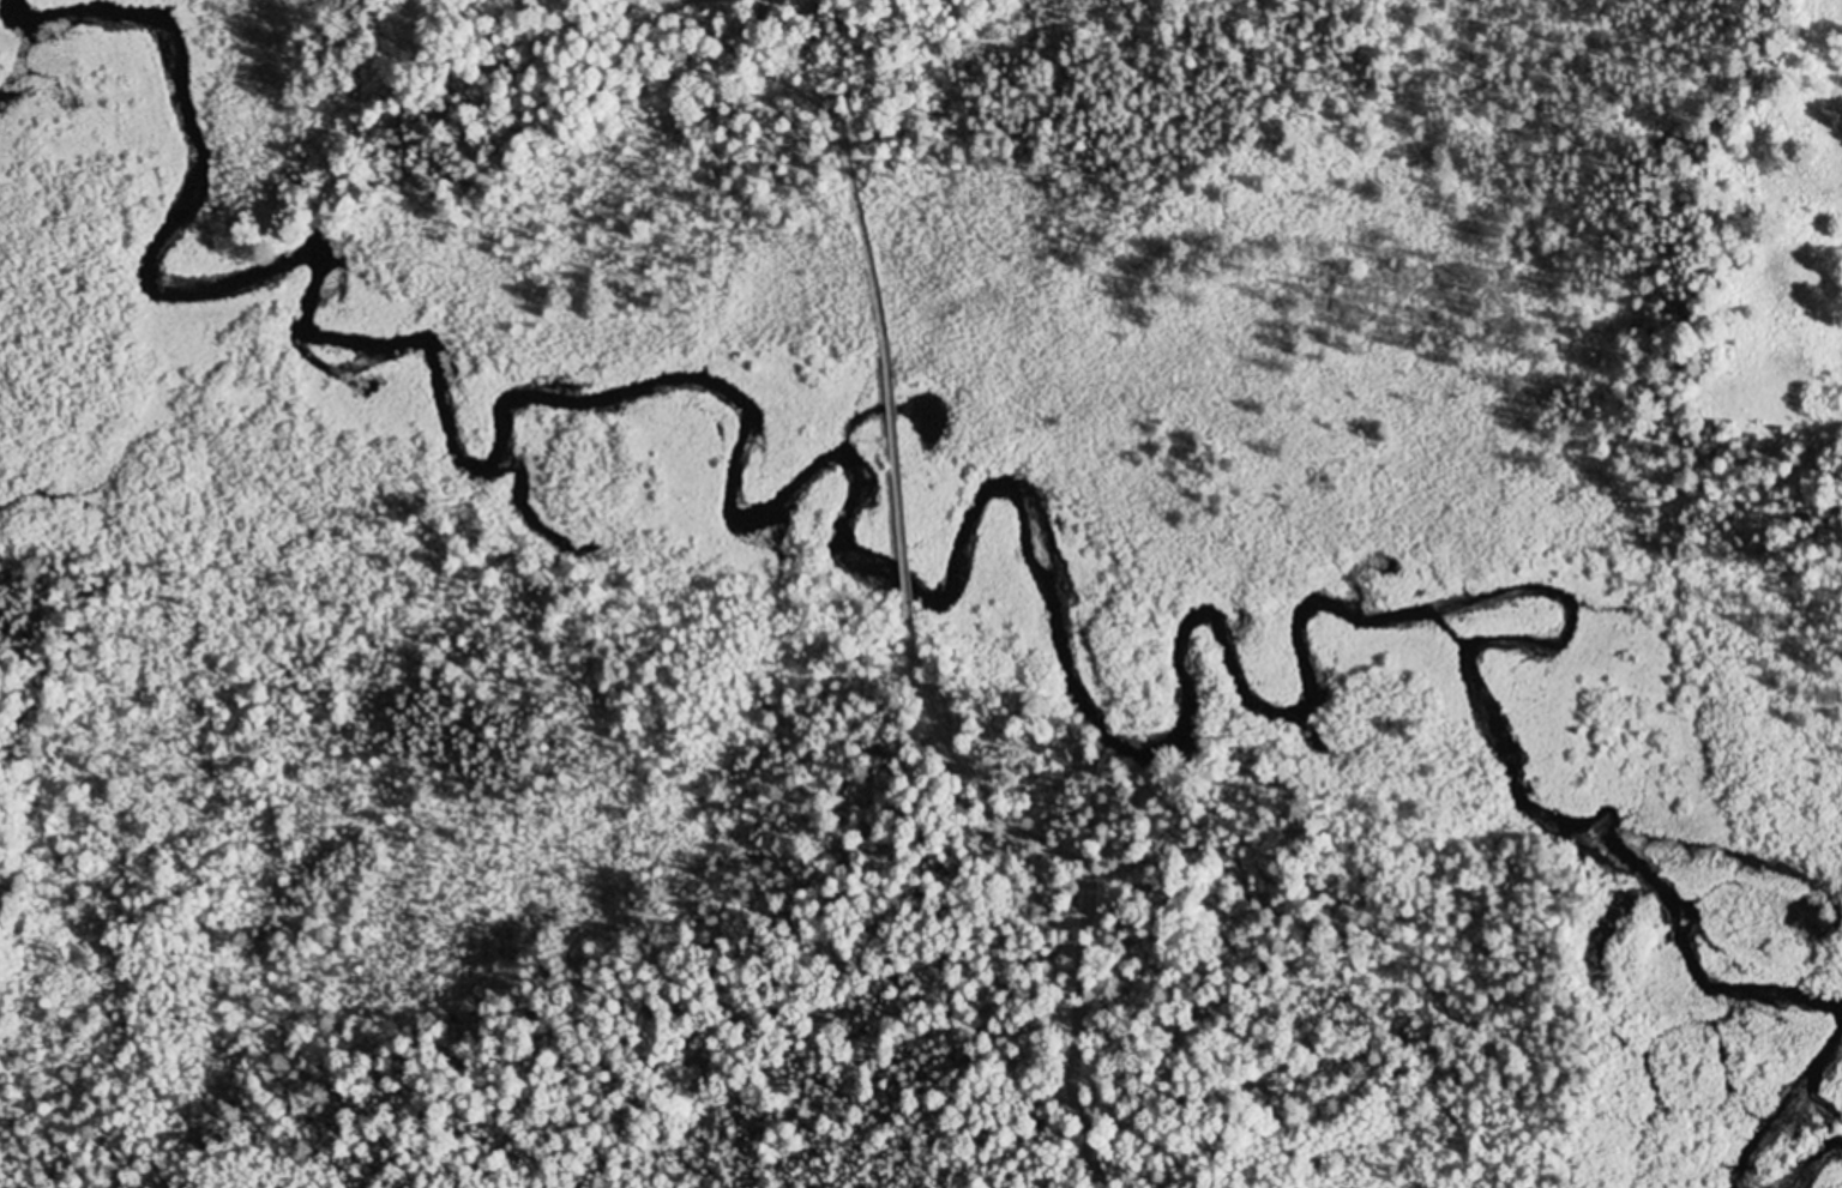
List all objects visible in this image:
road: (764, 61)
road: (884, 381)
road: (1082, 899)

